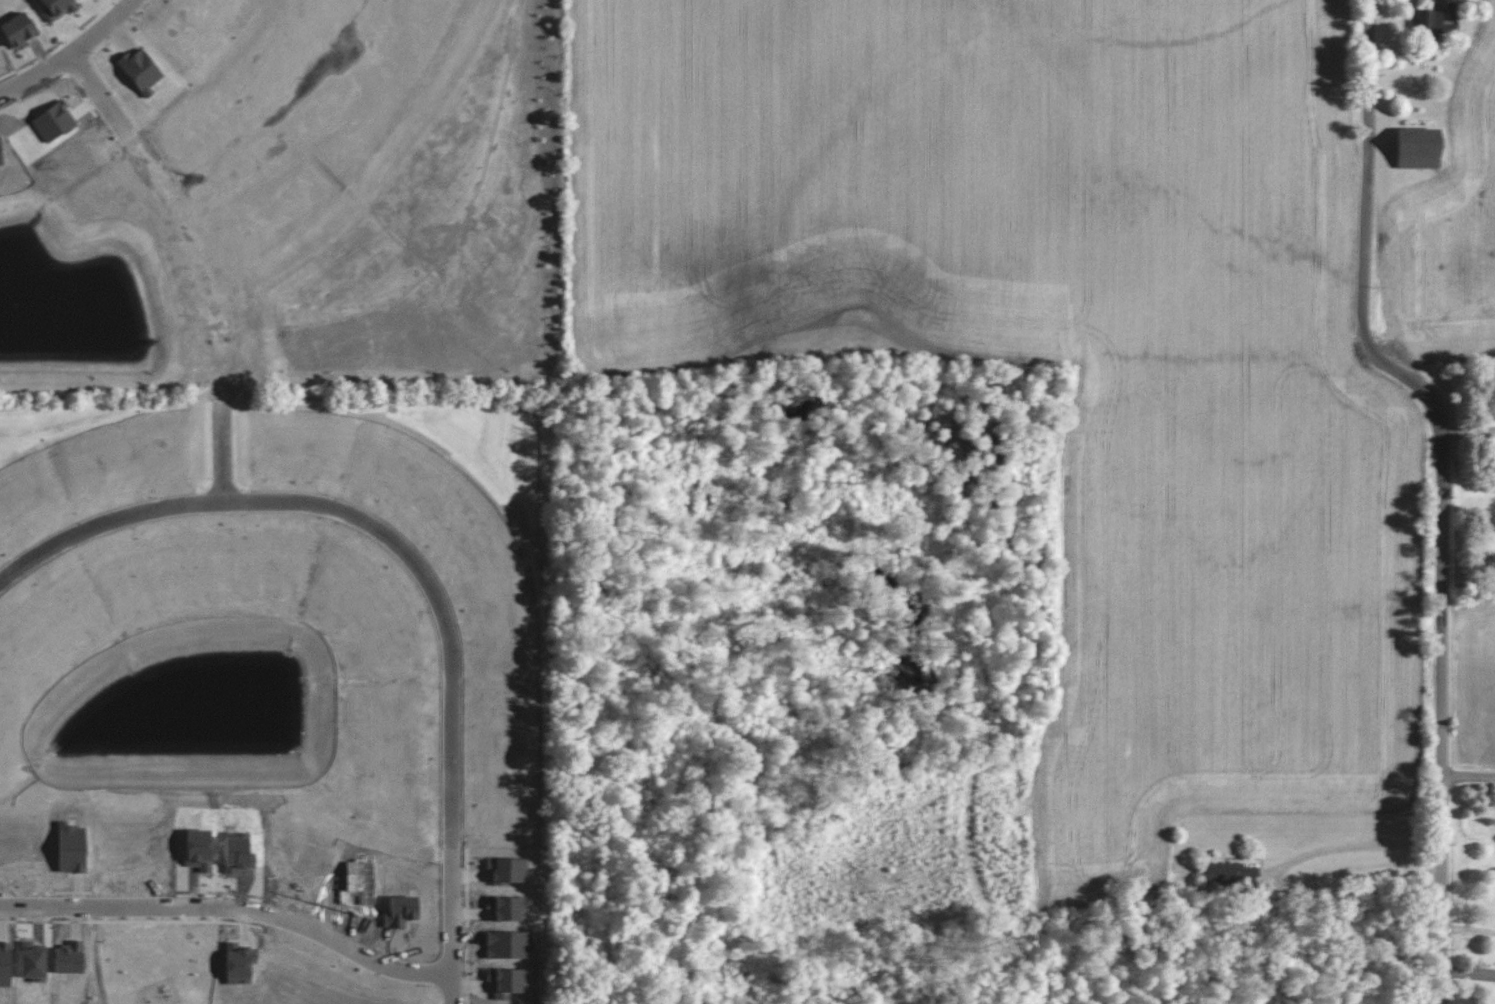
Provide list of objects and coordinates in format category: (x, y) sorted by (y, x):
building: (1452, 10)
building: (1427, 20)
road: (75, 58)
road: (301, 121)
building: (1417, 148)
road: (205, 265)
road: (1439, 485)
road: (407, 570)
road: (1467, 775)
road: (1348, 847)
building: (1228, 873)
road: (232, 911)
road: (78, 918)
road: (248, 919)
road: (162, 924)
road: (1467, 929)
road: (97, 964)
park: (154, 966)

